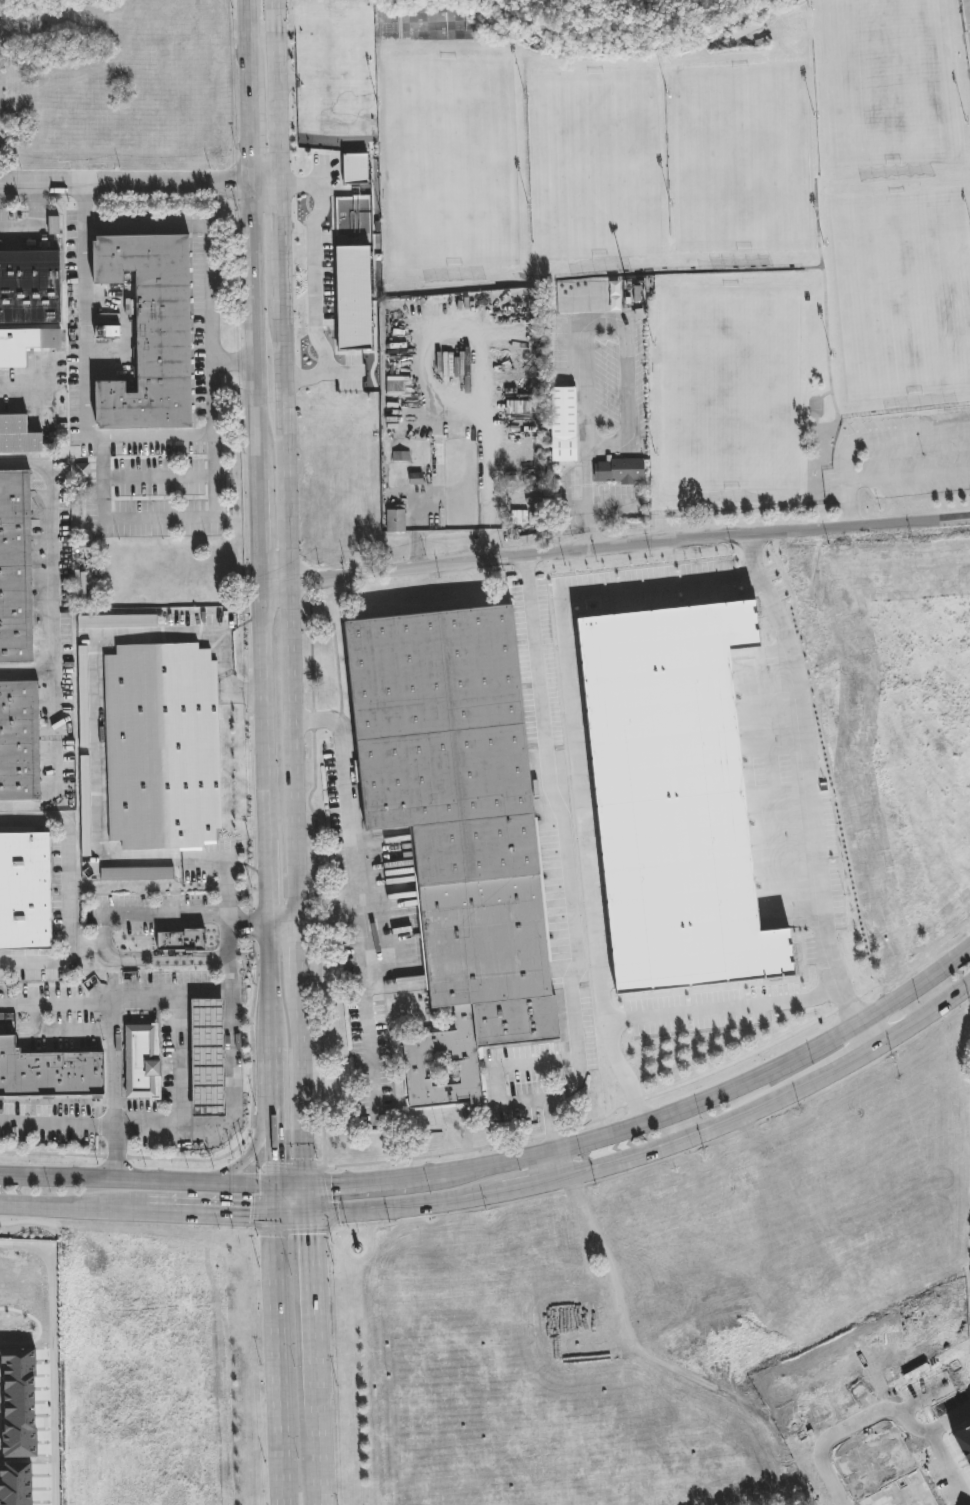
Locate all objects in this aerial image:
road: (969, 4)
road: (248, 23)
road: (276, 23)
building: (747, 29)
road: (248, 109)
road: (276, 109)
road: (137, 176)
park: (714, 218)
road: (36, 221)
road: (276, 221)
road: (315, 277)
building: (30, 286)
building: (602, 296)
road: (251, 321)
building: (152, 332)
building: (25, 345)
road: (231, 358)
road: (27, 390)
road: (456, 396)
building: (563, 422)
road: (188, 433)
road: (914, 435)
building: (19, 436)
parking lot: (900, 455)
road: (845, 458)
building: (627, 469)
road: (908, 475)
road: (158, 476)
road: (849, 505)
road: (159, 516)
road: (588, 517)
building: (395, 518)
building: (525, 518)
road: (257, 521)
road: (614, 546)
road: (762, 558)
building: (16, 568)
road: (630, 592)
road: (290, 596)
road: (55, 638)
road: (28, 672)
road: (237, 691)
road: (94, 703)
road: (261, 705)
building: (20, 742)
road: (345, 798)
building: (675, 798)
building: (455, 823)
road: (569, 859)
road: (225, 874)
road: (263, 882)
road: (67, 888)
building: (24, 889)
road: (165, 914)
road: (281, 923)
building: (184, 941)
road: (299, 950)
road: (142, 961)
road: (367, 981)
road: (265, 983)
road: (115, 1003)
road: (57, 1006)
road: (733, 1013)
road: (863, 1028)
gas station: (180, 1057)
building: (206, 1057)
gas station: (206, 1057)
road: (181, 1059)
building: (142, 1062)
road: (500, 1068)
building: (49, 1073)
road: (268, 1077)
road: (303, 1078)
road: (228, 1085)
road: (709, 1087)
road: (59, 1123)
road: (269, 1128)
road: (657, 1144)
road: (253, 1149)
road: (270, 1160)
road: (558, 1163)
road: (135, 1174)
road: (363, 1175)
traffic signals: (271, 1177)
road: (289, 1177)
traffic signals: (307, 1178)
road: (273, 1195)
road: (308, 1195)
road: (76, 1202)
road: (213, 1209)
road: (292, 1212)
traffic signals: (309, 1212)
traffic signals: (275, 1213)
road: (313, 1316)
road: (53, 1351)
road: (282, 1358)
building: (20, 1403)
road: (867, 1416)
building: (964, 1435)
road: (318, 1463)
building: (16, 1482)

